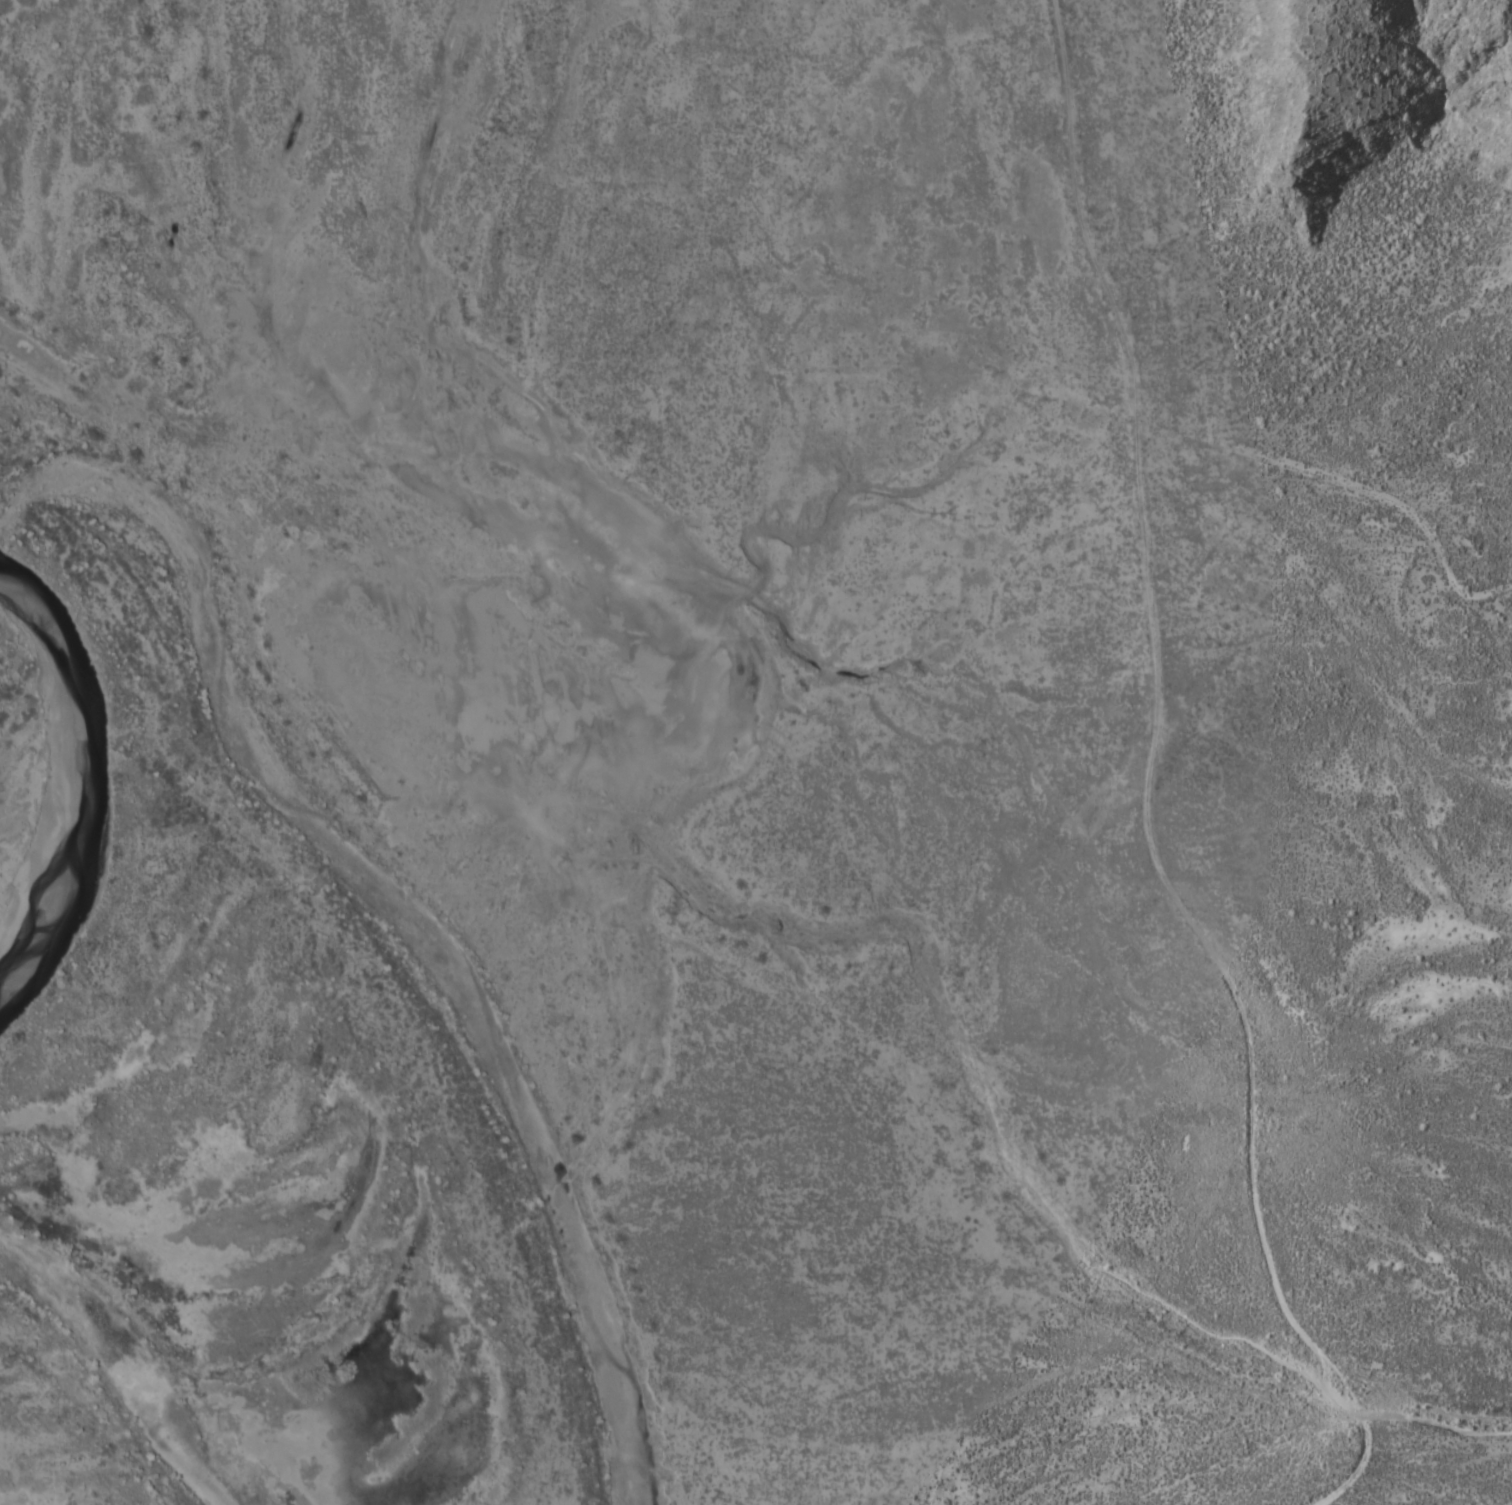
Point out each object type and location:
river: (395, 908)
river: (119, 1362)

